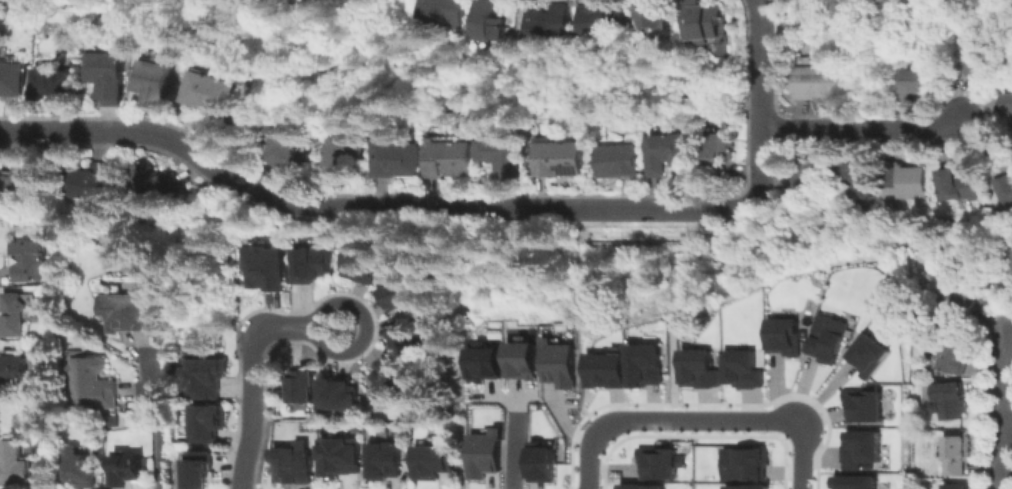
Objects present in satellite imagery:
park: (128, 12)
building: (441, 14)
building: (484, 19)
building: (650, 19)
building: (600, 22)
building: (700, 22)
building: (548, 23)
building: (1009, 53)
building: (978, 54)
road: (756, 63)
building: (101, 74)
building: (10, 80)
building: (150, 83)
building: (815, 83)
building: (917, 84)
building: (55, 85)
building: (201, 93)
building: (1010, 105)
road: (858, 124)
building: (288, 147)
building: (716, 148)
building: (341, 153)
building: (664, 153)
building: (498, 156)
building: (445, 159)
building: (556, 160)
building: (394, 161)
building: (615, 161)
building: (153, 179)
building: (21, 180)
building: (88, 180)
building: (856, 183)
building: (907, 183)
building: (807, 184)
building: (961, 185)
building: (1006, 193)
road: (402, 206)
road: (687, 222)
road: (679, 258)
building: (363, 259)
building: (976, 259)
building: (28, 260)
building: (1009, 263)
building: (311, 265)
building: (884, 267)
building: (268, 269)
road: (670, 273)
road: (670, 285)
building: (401, 289)
road: (670, 300)
building: (959, 307)
building: (14, 314)
building: (126, 314)
road: (366, 329)
building: (405, 334)
building: (783, 334)
building: (827, 336)
building: (867, 352)
building: (947, 352)
building: (519, 358)
building: (482, 360)
building: (555, 363)
building: (644, 363)
building: (742, 366)
building: (16, 367)
road: (670, 367)
building: (698, 367)
building: (605, 368)
building: (388, 376)
building: (205, 377)
road: (1002, 381)
building: (301, 383)
building: (92, 384)
building: (338, 396)
road: (251, 399)
building: (862, 402)
building: (38, 403)
building: (949, 404)
building: (109, 418)
road: (694, 420)
road: (1006, 423)
building: (208, 424)
road: (154, 425)
street lamp: (670, 430)
street lamp: (763, 431)
road: (511, 440)
building: (858, 446)
building: (481, 452)
building: (956, 455)
road: (1000, 456)
road: (800, 457)
building: (341, 459)
building: (537, 459)
building: (657, 460)
building: (743, 461)
building: (387, 462)
building: (434, 462)
road: (590, 463)
building: (15, 464)
building: (294, 466)
building: (81, 470)
building: (127, 470)
building: (196, 470)
street lamp: (598, 481)
building: (854, 481)
building: (642, 486)
building: (750, 486)
building: (957, 487)

